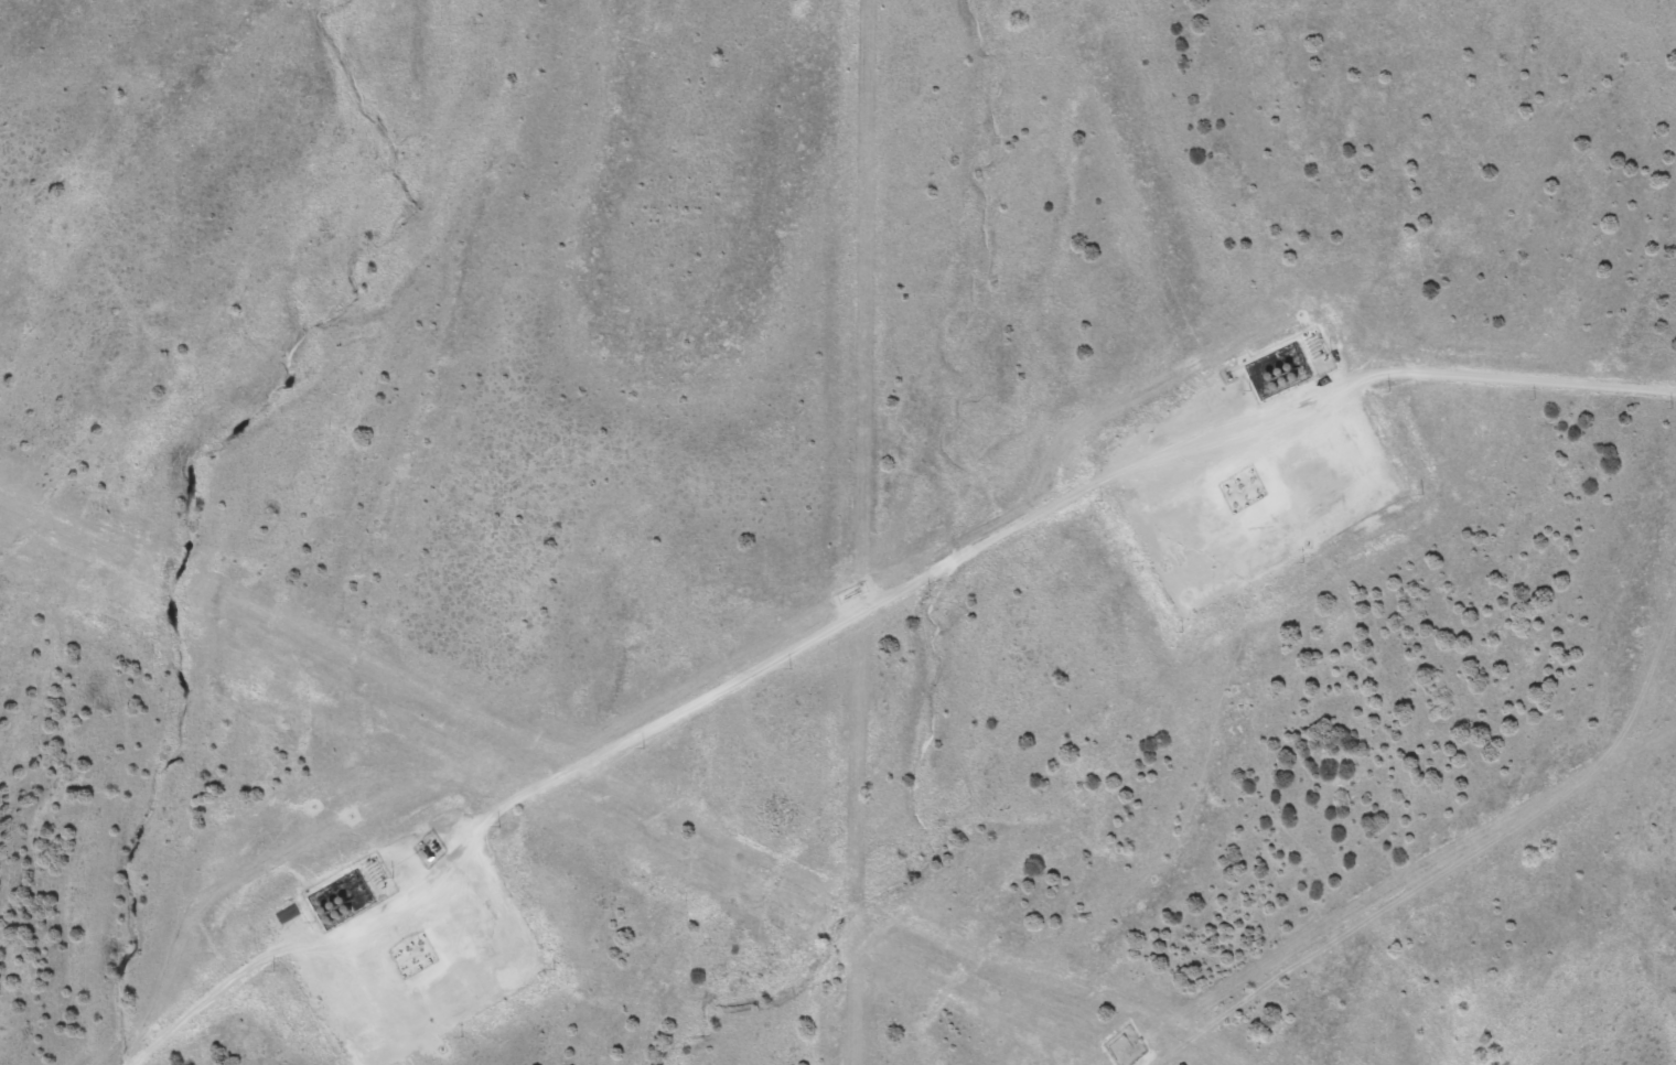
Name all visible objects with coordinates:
road: (1506, 372)

